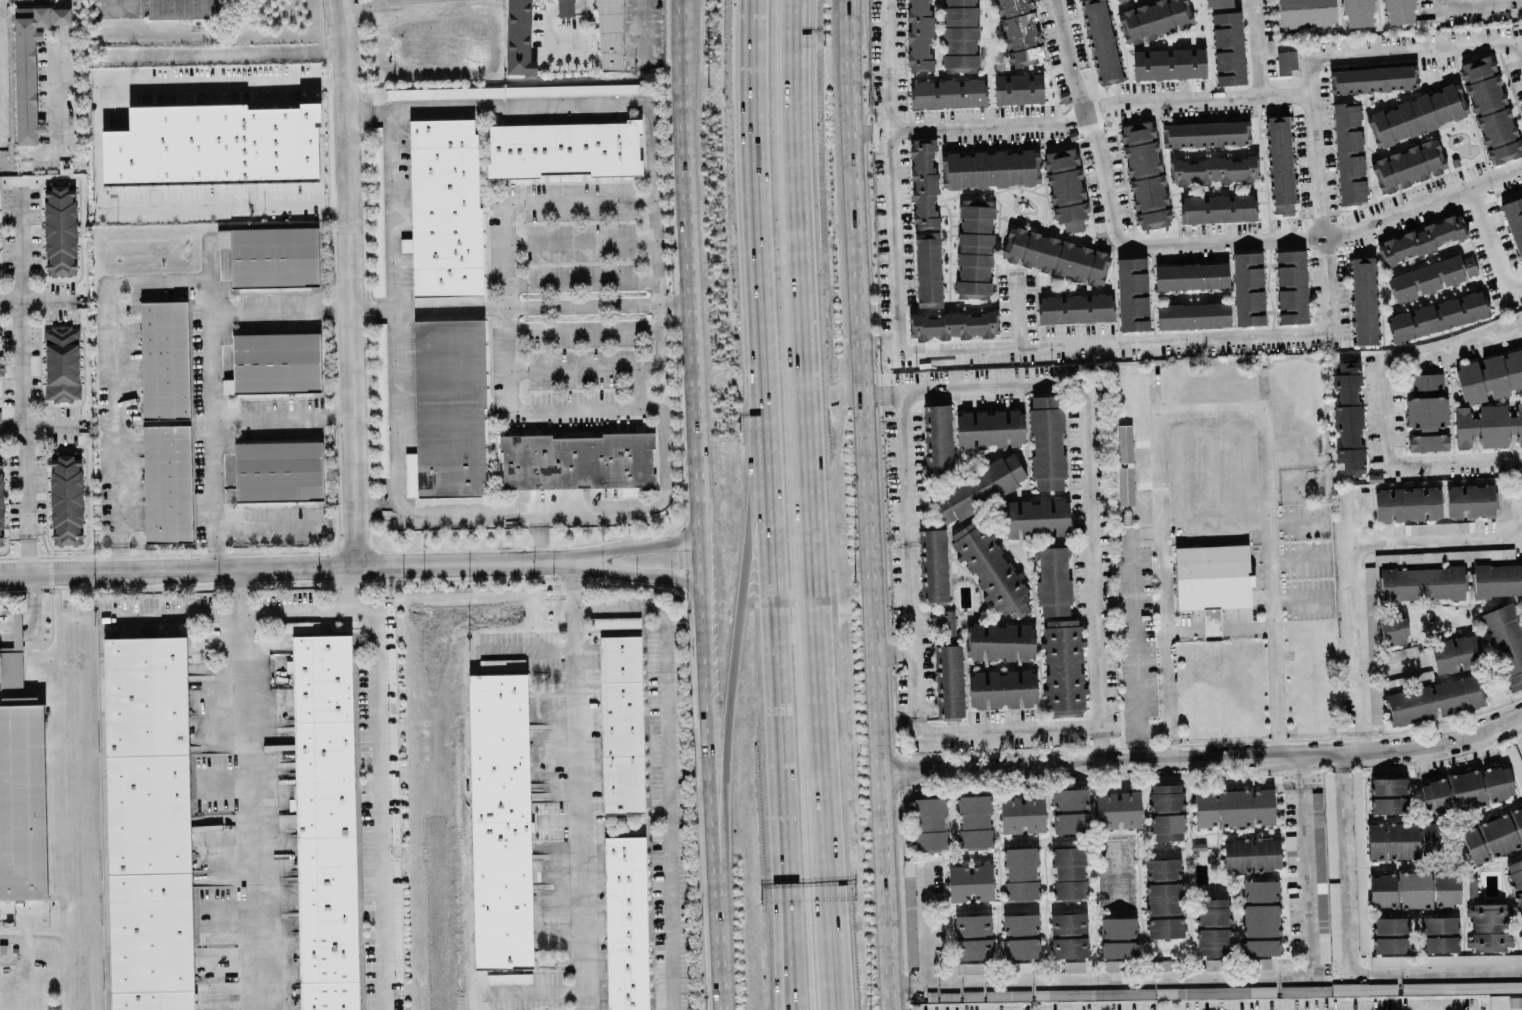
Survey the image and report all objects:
road: (348, 0)
building: (1122, 0)
building: (1217, 3)
road: (1439, 3)
road: (1481, 3)
road: (64, 4)
road: (643, 6)
building: (187, 8)
building: (565, 8)
building: (1399, 11)
building: (1306, 12)
building: (1358, 12)
road: (61, 17)
building: (1154, 19)
building: (1018, 31)
building: (919, 35)
building: (960, 35)
building: (519, 37)
building: (1101, 41)
road: (1256, 47)
building: (1228, 48)
road: (1418, 48)
building: (1285, 62)
building: (1169, 63)
building: (30, 64)
building: (1373, 78)
road: (61, 87)
building: (1018, 88)
building: (575, 89)
building: (444, 92)
building: (948, 92)
road: (502, 102)
road: (1099, 108)
road: (369, 109)
building: (1456, 111)
road: (1085, 117)
building: (1205, 133)
building: (214, 145)
building: (564, 149)
road: (95, 151)
road: (680, 151)
building: (1349, 152)
building: (1280, 164)
building: (1408, 165)
building: (1214, 169)
building: (1145, 174)
road: (1496, 175)
building: (1023, 177)
road: (754, 183)
building: (923, 183)
road: (1318, 194)
building: (444, 207)
building: (1218, 208)
building: (377, 211)
road: (1396, 211)
building: (1514, 221)
building: (60, 231)
building: (1422, 238)
road: (580, 240)
road: (1217, 240)
road: (1491, 246)
building: (974, 247)
building: (1056, 255)
building: (271, 256)
building: (928, 269)
building: (1191, 276)
building: (1432, 276)
road: (159, 278)
road: (580, 280)
road: (351, 282)
building: (1291, 286)
building: (1248, 288)
building: (1132, 293)
road: (505, 297)
road: (36, 300)
building: (1365, 300)
road: (518, 303)
building: (1074, 307)
road: (279, 309)
road: (1016, 311)
building: (1193, 315)
building: (1437, 315)
building: (953, 325)
road: (938, 348)
building: (276, 362)
building: (61, 363)
building: (2, 366)
road: (805, 366)
road: (571, 368)
road: (21, 379)
road: (923, 390)
road: (885, 392)
building: (1488, 398)
building: (382, 399)
road: (1383, 405)
building: (447, 410)
road: (1210, 410)
building: (1426, 412)
building: (0, 416)
road: (282, 416)
building: (1348, 416)
road: (691, 420)
building: (165, 422)
road: (37, 428)
building: (987, 428)
building: (937, 441)
building: (1047, 442)
building: (1124, 442)
building: (579, 461)
building: (278, 471)
building: (1125, 485)
building: (977, 487)
building: (66, 500)
building: (1470, 500)
building: (1407, 503)
road: (872, 504)
building: (1, 506)
road: (378, 507)
building: (1045, 517)
road: (1297, 522)
road: (271, 524)
building: (1438, 527)
road: (767, 532)
road: (1439, 538)
road: (638, 543)
building: (1387, 557)
road: (1297, 560)
road: (1270, 562)
building: (933, 565)
road: (290, 566)
road: (1163, 571)
road: (638, 574)
building: (1212, 576)
building: (1497, 579)
building: (1053, 580)
building: (1422, 583)
road: (344, 587)
building: (993, 598)
road: (1300, 599)
building: (16, 613)
building: (1371, 613)
road: (31, 614)
road: (169, 616)
road: (1357, 618)
building: (615, 621)
building: (945, 625)
road: (1219, 625)
building: (300, 626)
building: (1393, 628)
road: (1135, 630)
building: (1506, 641)
road: (525, 648)
road: (896, 652)
building: (1401, 652)
building: (1455, 653)
road: (731, 662)
building: (501, 663)
road: (1394, 666)
building: (321, 676)
building: (1038, 677)
building: (949, 681)
building: (146, 694)
building: (1434, 699)
building: (621, 723)
road: (1519, 725)
road: (376, 741)
road: (705, 748)
road: (1204, 758)
building: (1516, 763)
road: (665, 764)
building: (324, 776)
road: (575, 784)
road: (248, 788)
building: (1467, 789)
building: (1389, 795)
building: (22, 799)
building: (1263, 806)
building: (1234, 807)
building: (1205, 808)
building: (1070, 810)
building: (1167, 811)
building: (148, 813)
building: (1022, 814)
building: (501, 820)
building: (975, 820)
building: (930, 823)
building: (1330, 823)
building: (1493, 835)
building: (1403, 840)
road: (776, 853)
road: (782, 853)
building: (1266, 853)
building: (1237, 854)
building: (1359, 860)
road: (822, 870)
road: (834, 871)
building: (1069, 872)
building: (1515, 878)
building: (970, 882)
building: (1420, 888)
building: (1325, 891)
building: (1164, 898)
road: (27, 906)
building: (327, 907)
building: (909, 912)
building: (1260, 917)
building: (626, 922)
road: (925, 926)
building: (1213, 926)
building: (1489, 926)
building: (151, 932)
building: (1069, 934)
building: (1440, 934)
building: (1021, 935)
building: (973, 936)
building: (1118, 937)
road: (1349, 948)
road: (1208, 975)
building: (508, 978)
road: (716, 983)
building: (1465, 986)
building: (1338, 989)
road: (533, 990)
building: (1154, 992)
building: (1007, 994)
building: (329, 995)
building: (153, 1000)
building: (1519, 1000)
road: (1410, 1007)

